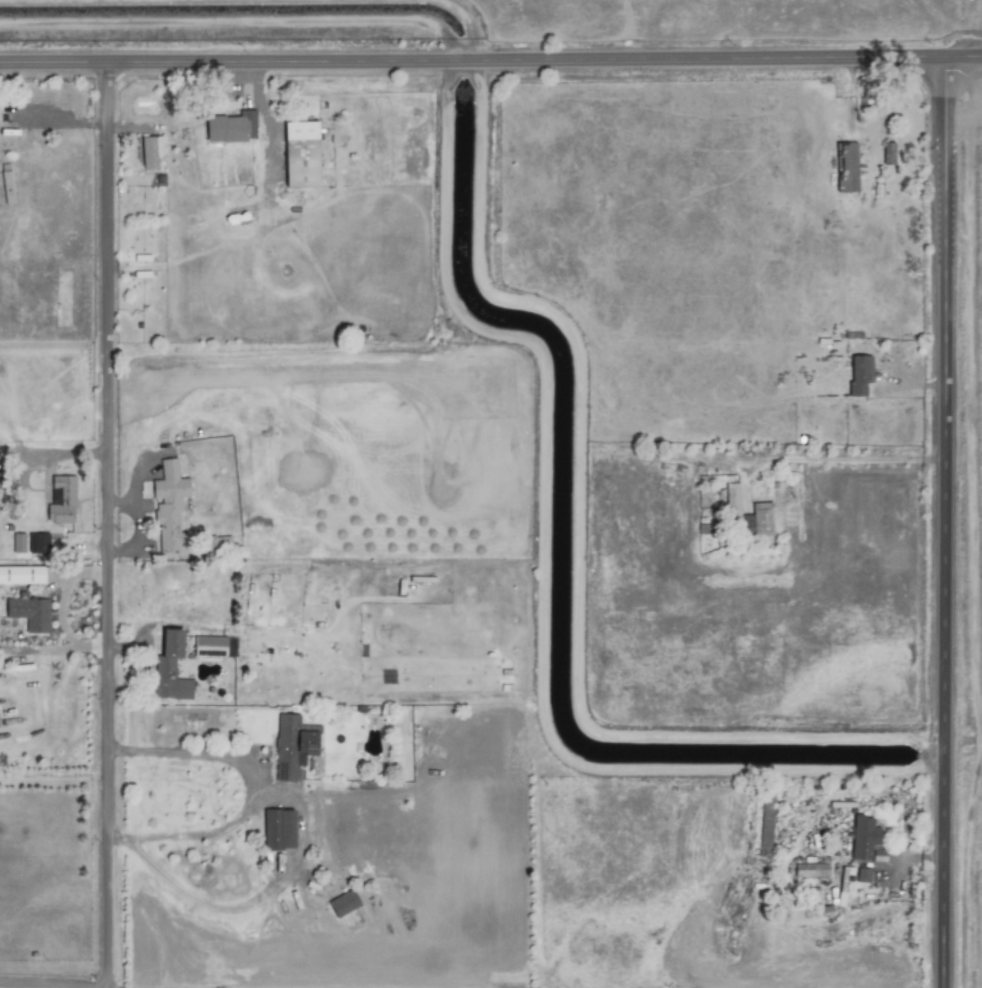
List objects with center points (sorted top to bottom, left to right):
road: (491, 61)
road: (252, 83)
building: (230, 127)
road: (271, 131)
building: (150, 151)
building: (300, 153)
building: (888, 153)
building: (847, 168)
building: (859, 374)
road: (839, 458)
building: (61, 499)
building: (169, 506)
building: (761, 508)
road: (939, 520)
road: (104, 523)
building: (18, 542)
building: (37, 542)
building: (218, 543)
building: (21, 574)
building: (29, 613)
building: (209, 645)
building: (169, 668)
building: (291, 746)
road: (247, 790)
building: (765, 828)
building: (278, 829)
building: (862, 837)
building: (878, 855)
building: (811, 869)
building: (861, 874)
building: (343, 903)
road: (53, 985)

